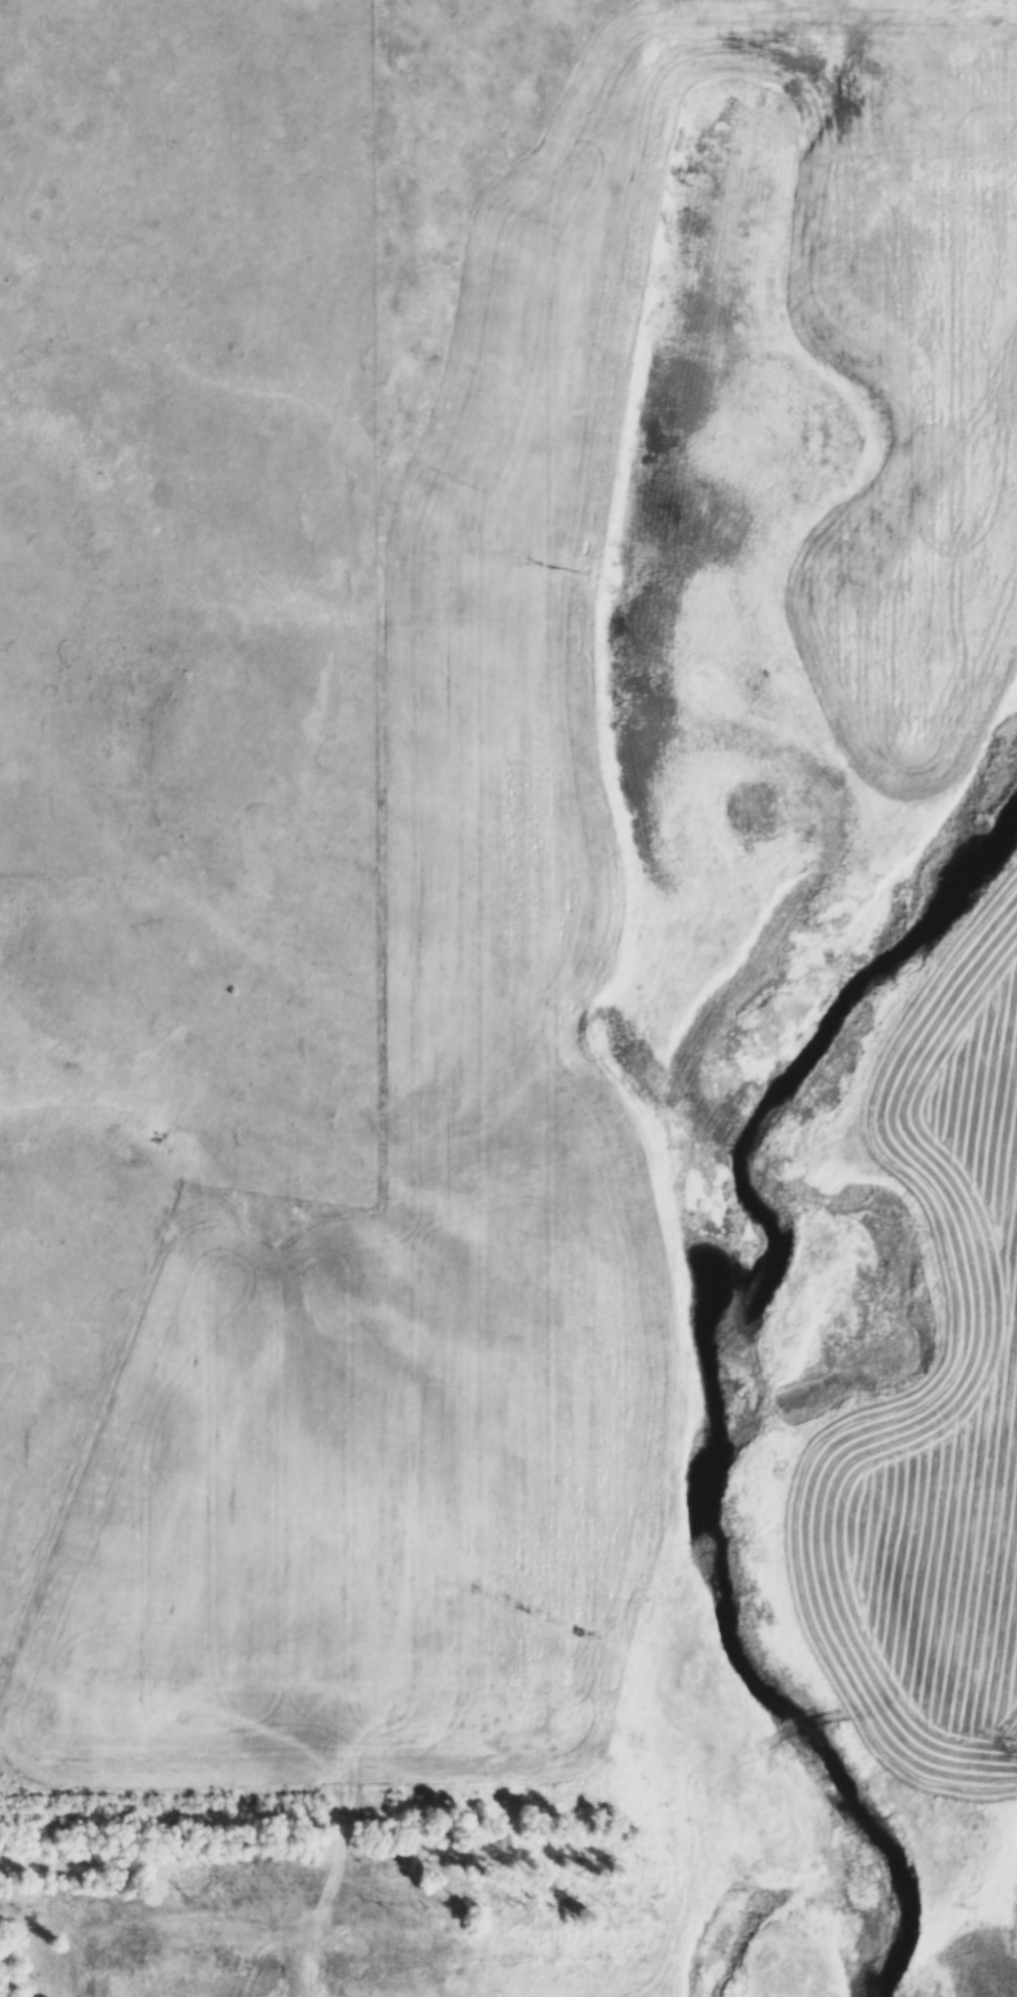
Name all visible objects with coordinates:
river: (709, 1366)

